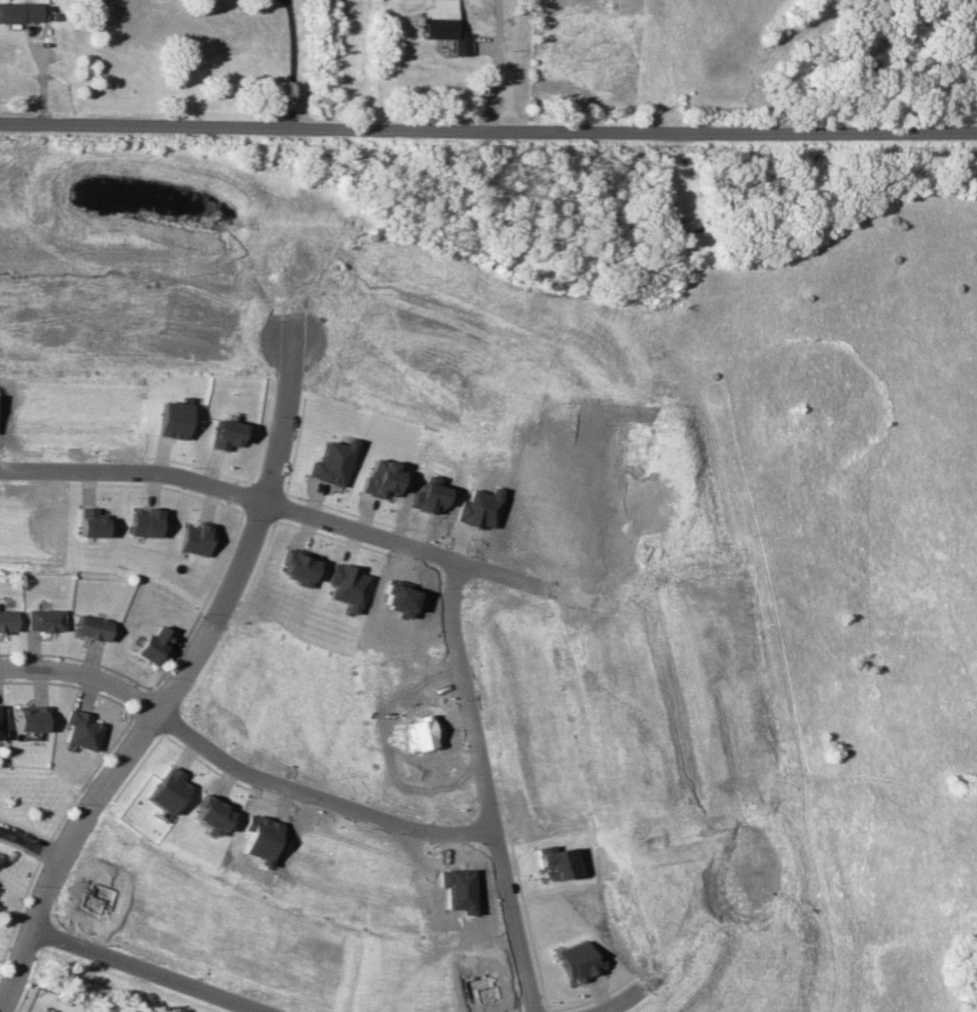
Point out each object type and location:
road: (283, 2)
road: (286, 2)
building: (19, 12)
building: (443, 25)
road: (291, 64)
road: (497, 64)
road: (488, 127)
building: (172, 420)
road: (278, 423)
building: (225, 434)
building: (331, 463)
road: (135, 472)
building: (380, 478)
building: (90, 522)
building: (144, 522)
building: (196, 538)
building: (299, 566)
road: (501, 577)
building: (347, 585)
building: (44, 619)
building: (7, 620)
road: (450, 623)
building: (93, 627)
building: (153, 645)
road: (80, 679)
building: (29, 717)
building: (0, 721)
building: (80, 729)
road: (314, 800)
road: (89, 811)
park: (29, 821)
road: (30, 842)
building: (578, 961)
road: (142, 971)

